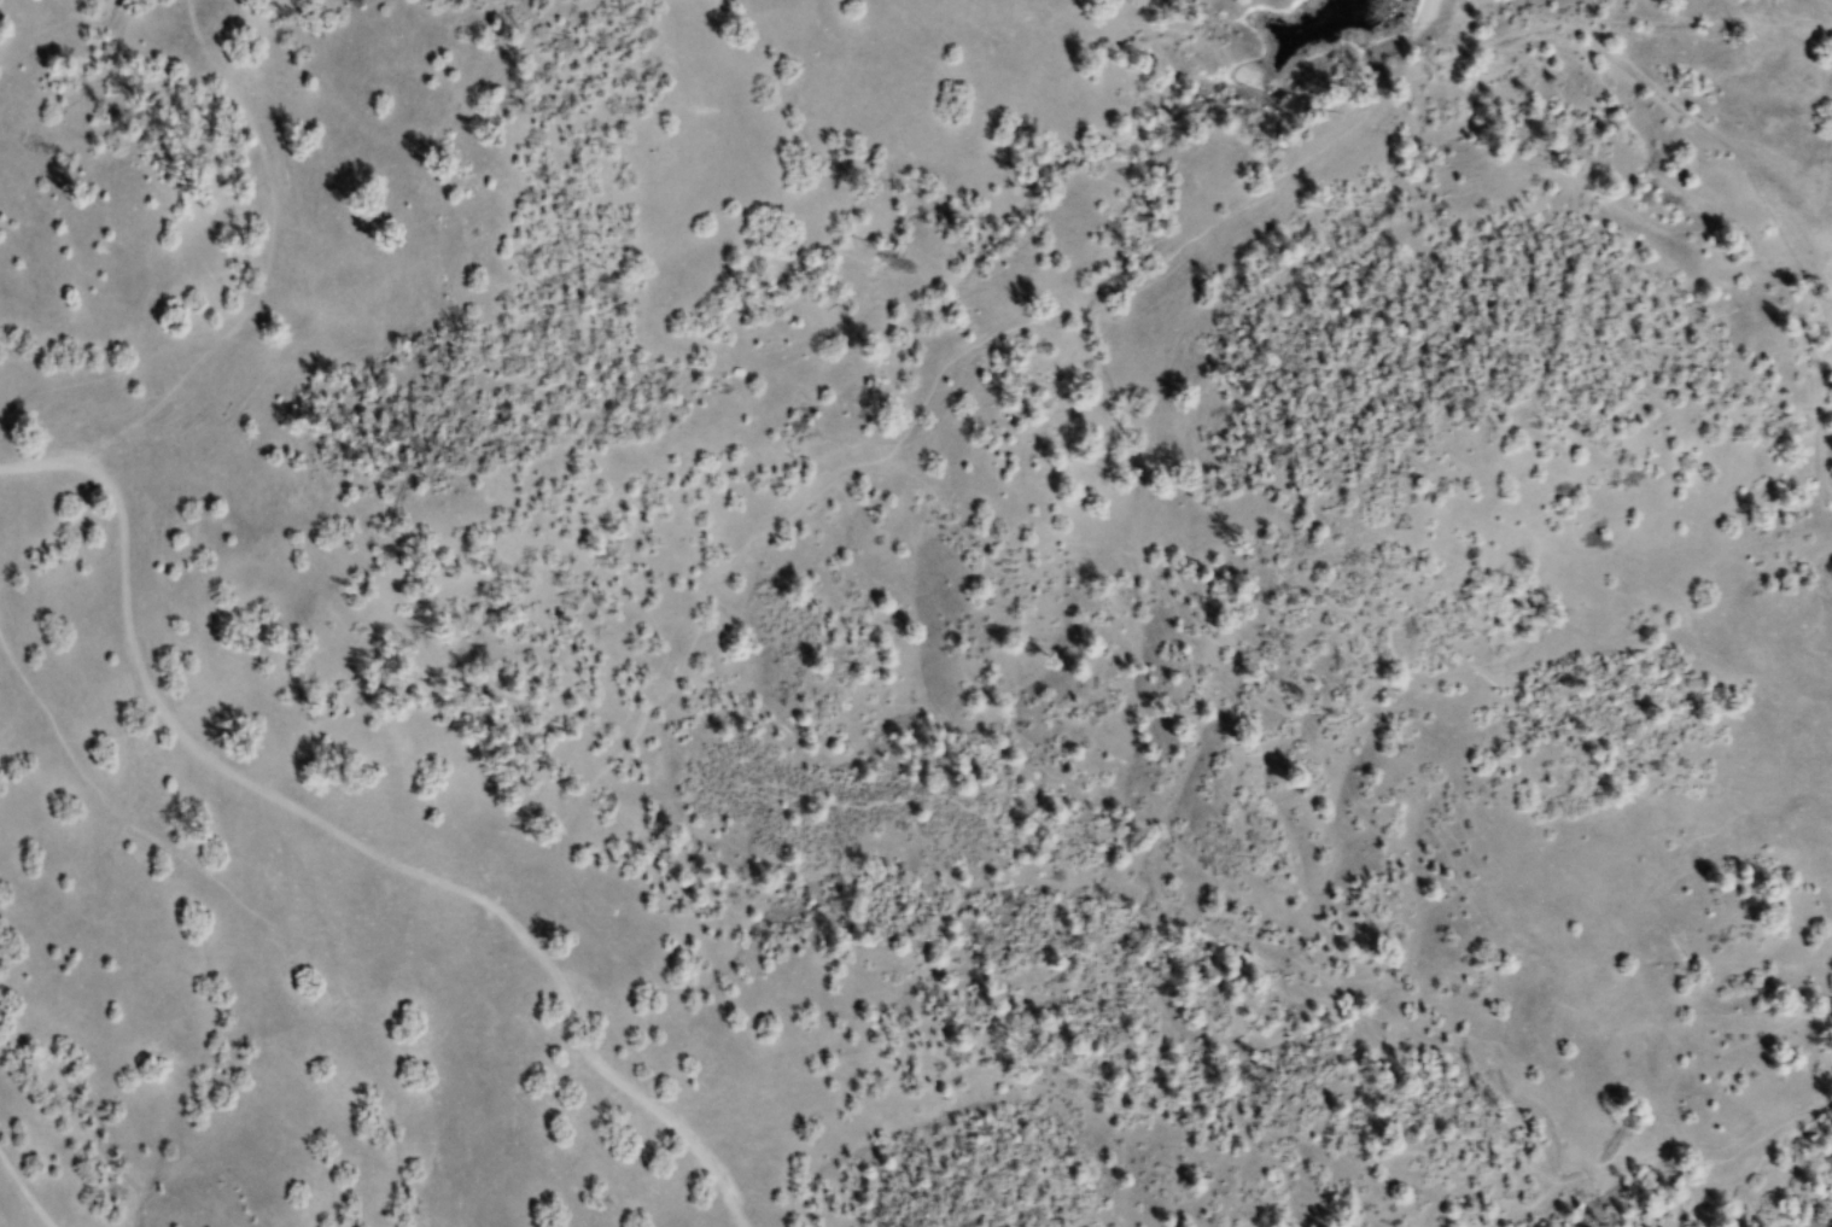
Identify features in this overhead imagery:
dam: (1452, 7)

